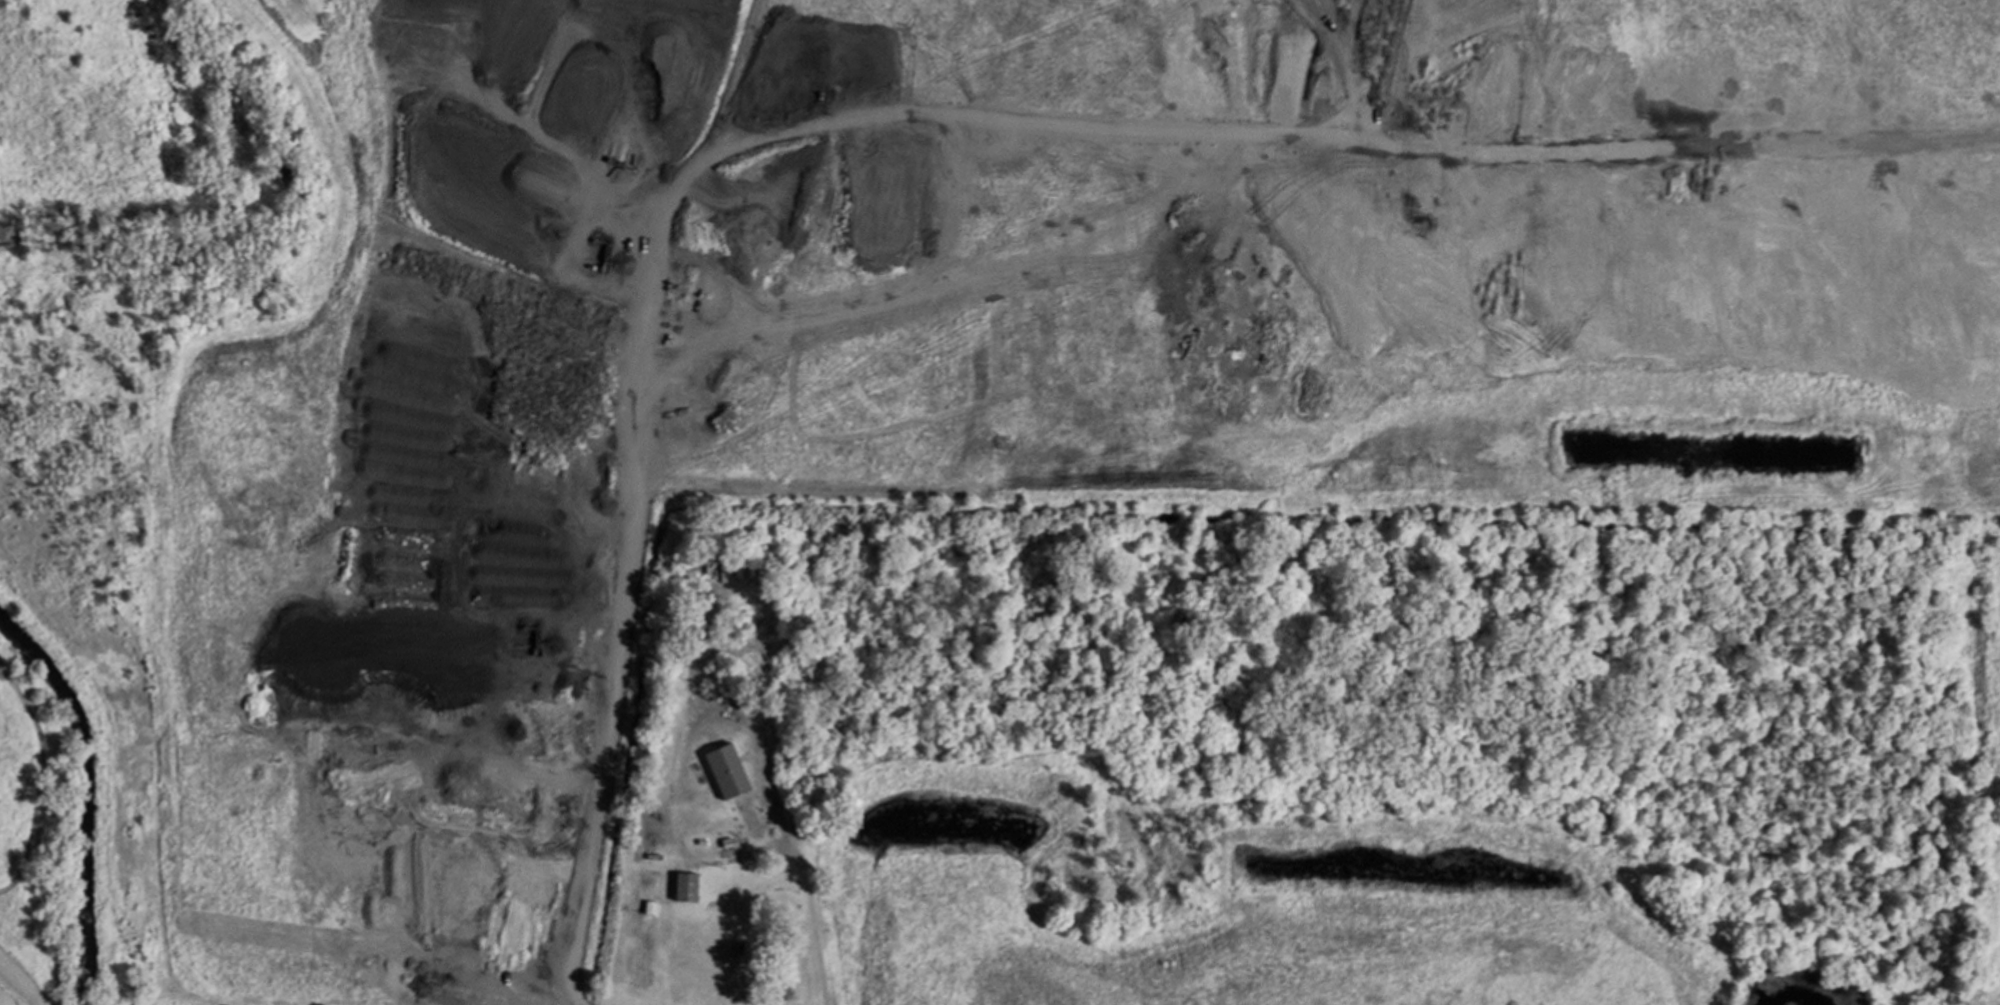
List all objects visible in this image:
road: (624, 605)
building: (726, 771)
road: (814, 921)

